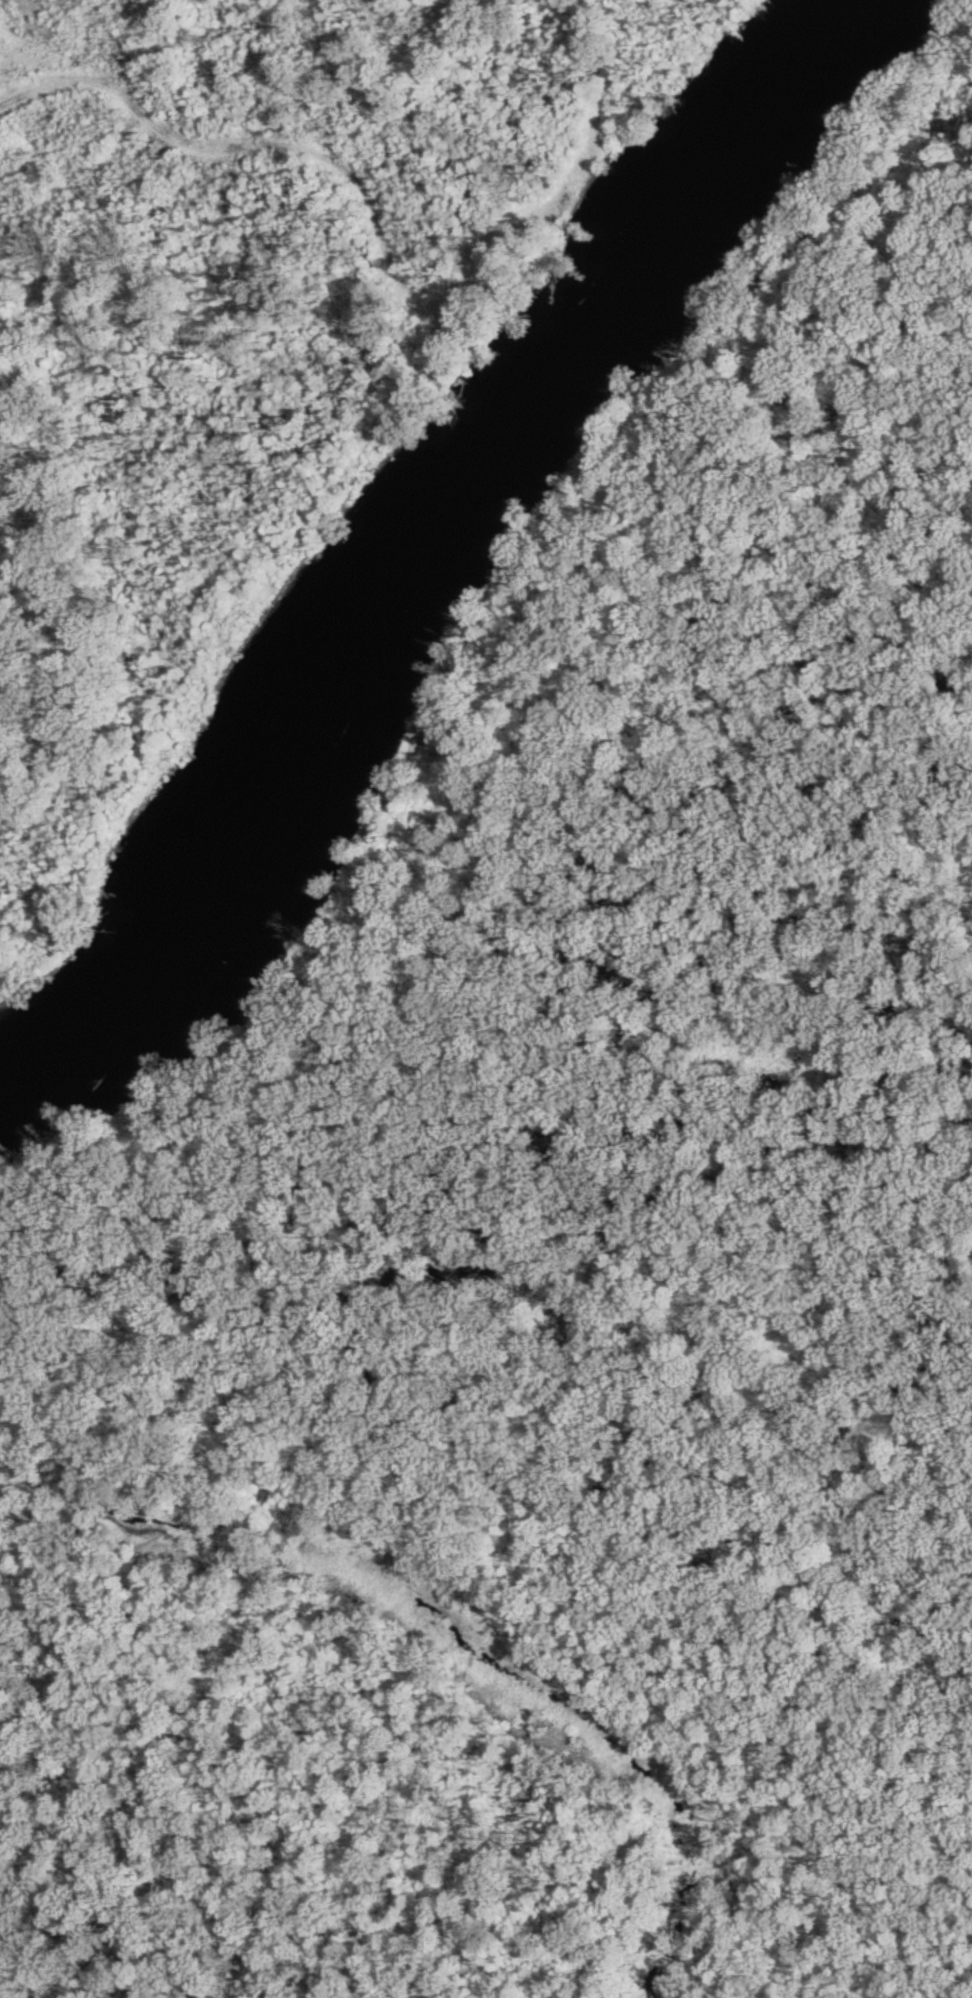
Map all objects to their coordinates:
river: (444, 546)

